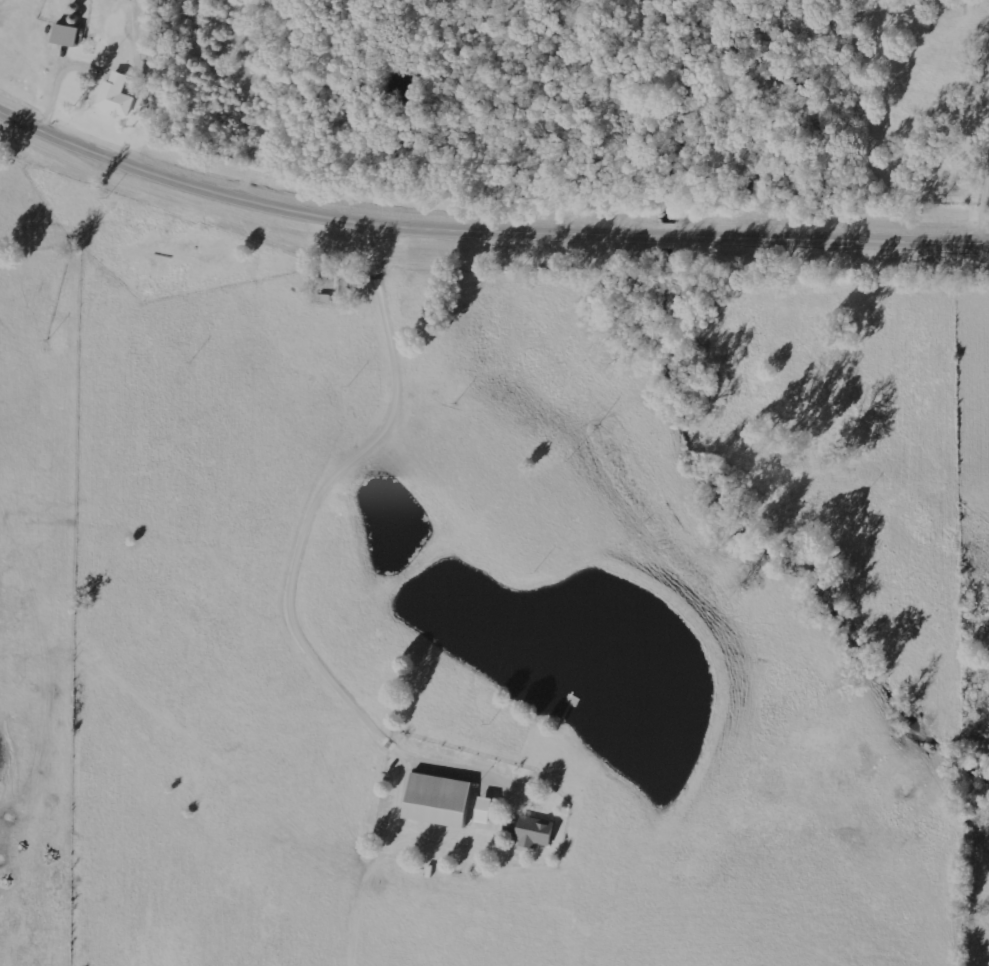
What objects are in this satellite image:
building: (68, 36)
building: (117, 96)
road: (485, 234)
road: (144, 246)
road: (363, 510)
building: (441, 800)
building: (487, 809)
building: (535, 832)

